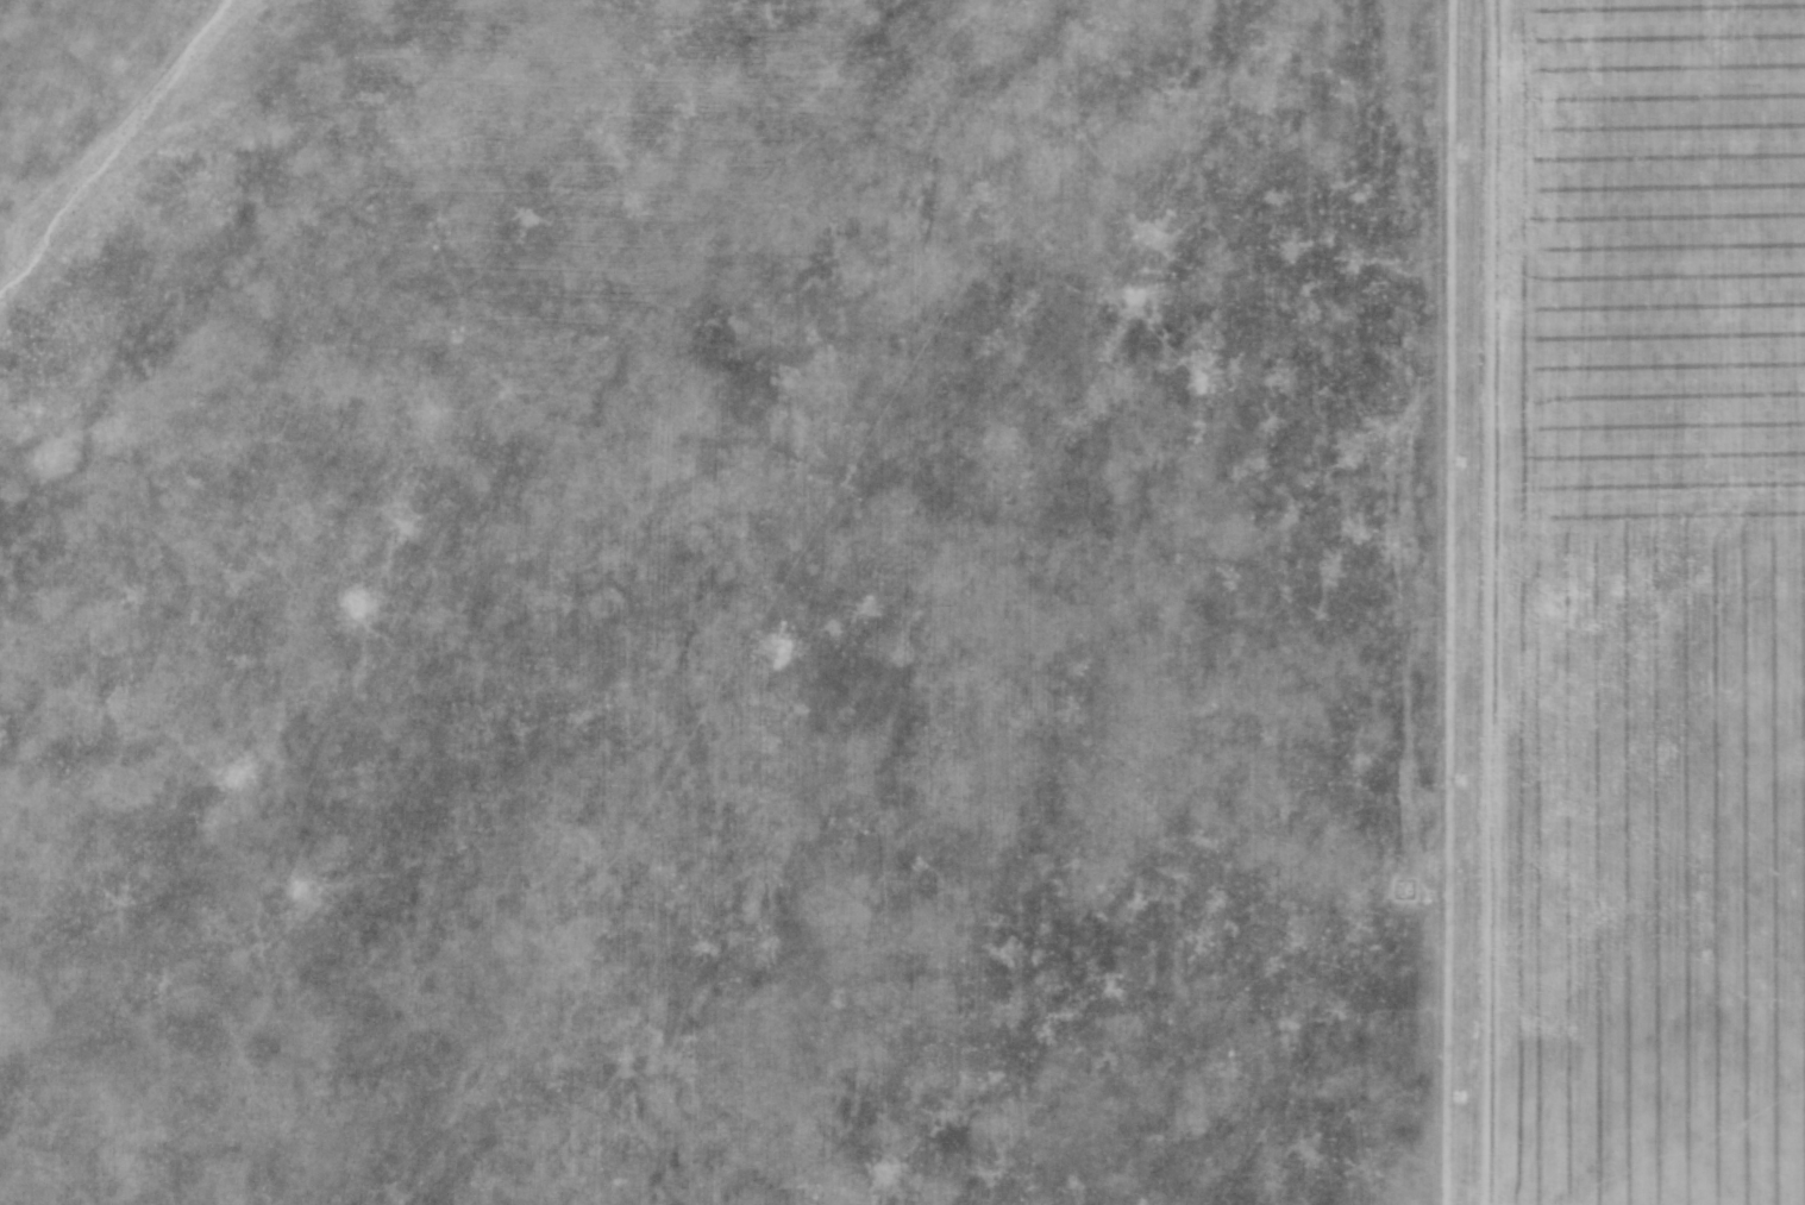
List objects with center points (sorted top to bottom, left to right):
road: (1450, 602)

